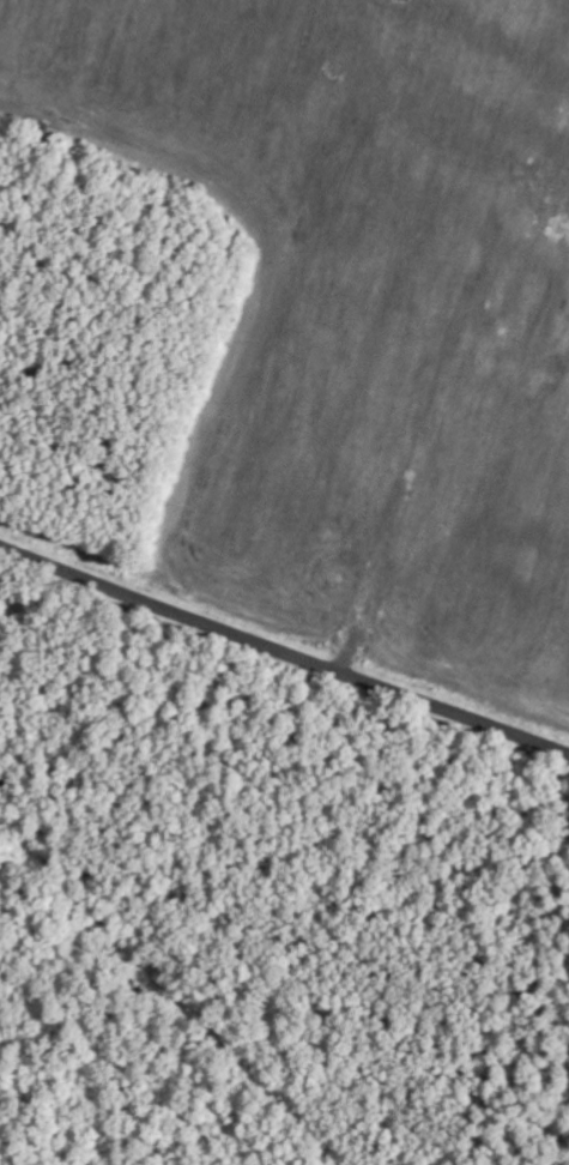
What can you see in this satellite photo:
road: (284, 647)

